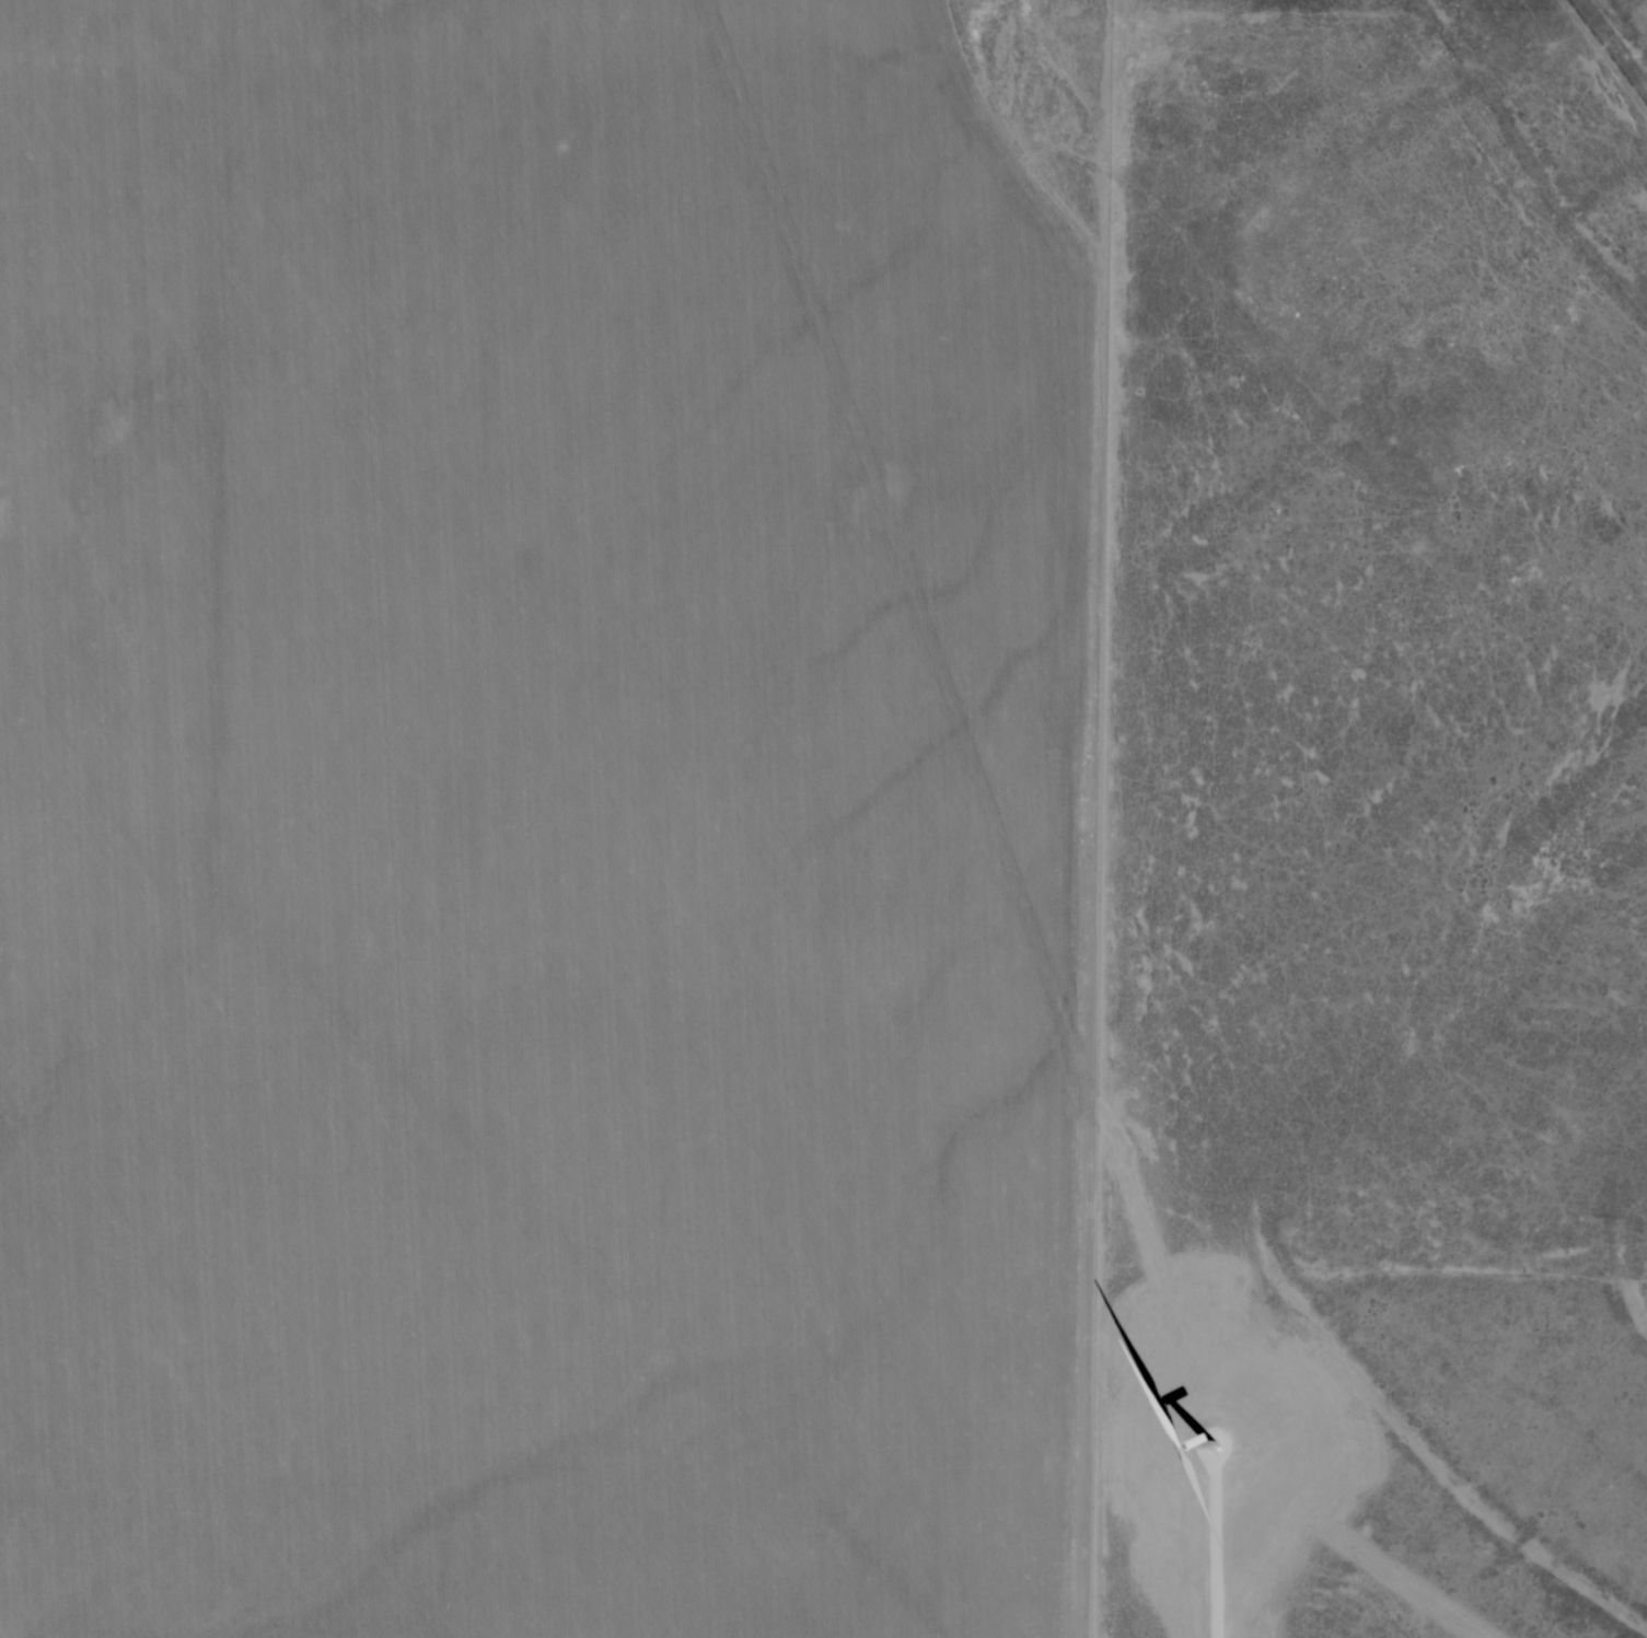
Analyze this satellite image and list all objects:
wind turbine: (1214, 1457)
road: (1216, 1554)

